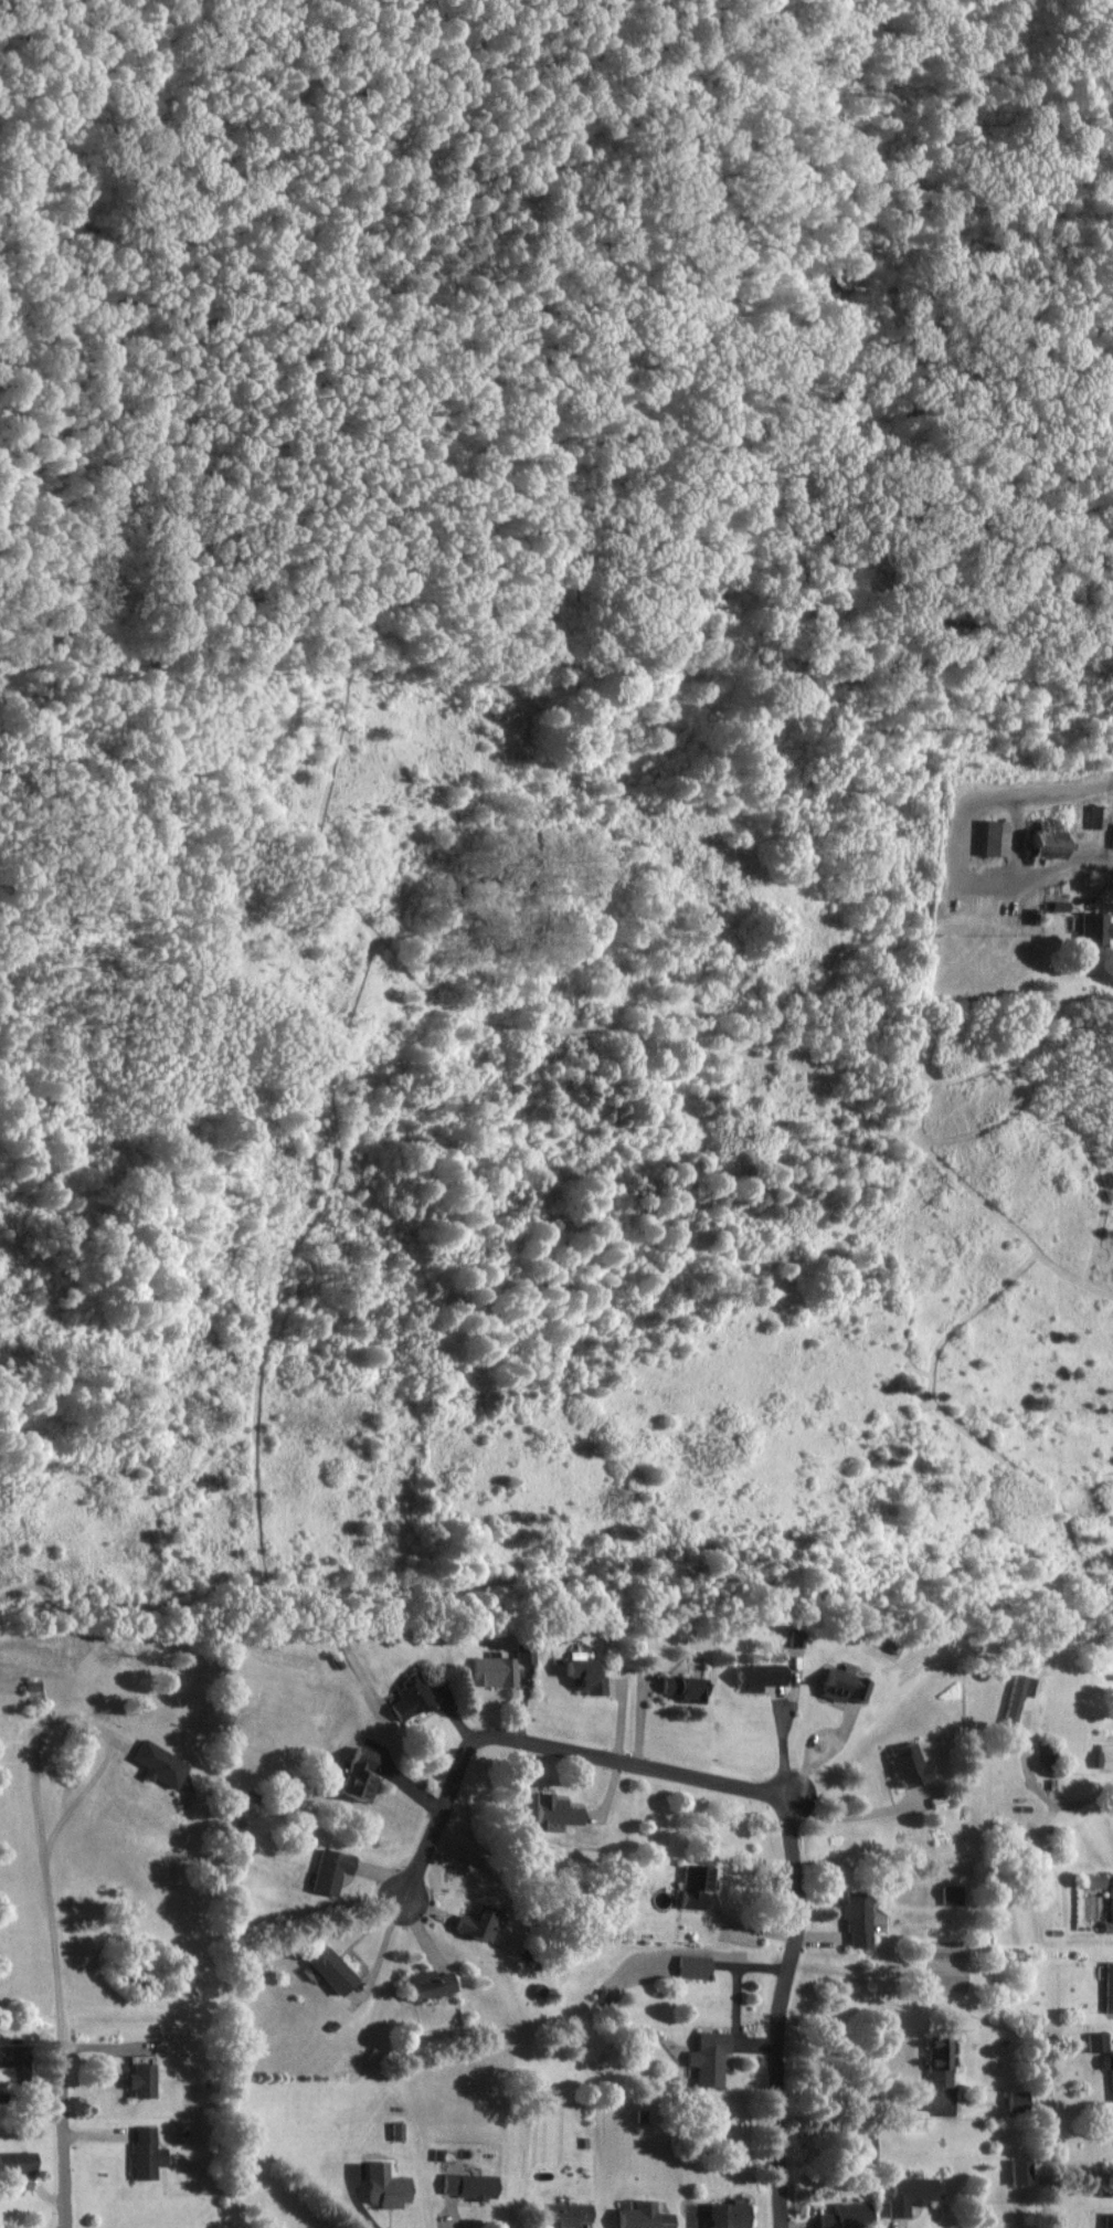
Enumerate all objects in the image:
building: (1111, 836)
building: (992, 837)
building: (1042, 844)
building: (1091, 929)
building: (794, 1639)
building: (524, 1652)
building: (492, 1670)
building: (580, 1675)
building: (755, 1675)
building: (839, 1683)
building: (678, 1687)
building: (1015, 1696)
building: (407, 1697)
road: (783, 1736)
road: (545, 1741)
road: (838, 1743)
building: (1103, 1755)
building: (153, 1763)
building: (904, 1764)
building: (353, 1775)
road: (31, 1783)
road: (1083, 1797)
building: (550, 1810)
road: (850, 1815)
building: (327, 1870)
building: (1091, 1880)
building: (691, 1884)
building: (947, 1894)
building: (1107, 1912)
building: (852, 1916)
building: (475, 1922)
building: (689, 1965)
building: (327, 1970)
building: (424, 1984)
building: (1106, 1986)
road: (780, 2007)
building: (1094, 2041)
building: (704, 2057)
building: (934, 2060)
building: (135, 2080)
road: (850, 2084)
building: (1014, 2099)
road: (65, 2143)
building: (142, 2153)
building: (13, 2162)
building: (1015, 2171)
building: (381, 2185)
building: (466, 2185)
building: (905, 2194)
building: (561, 2214)
building: (725, 2215)
building: (638, 2216)
building: (842, 2216)
building: (1106, 2219)
building: (301, 2227)

